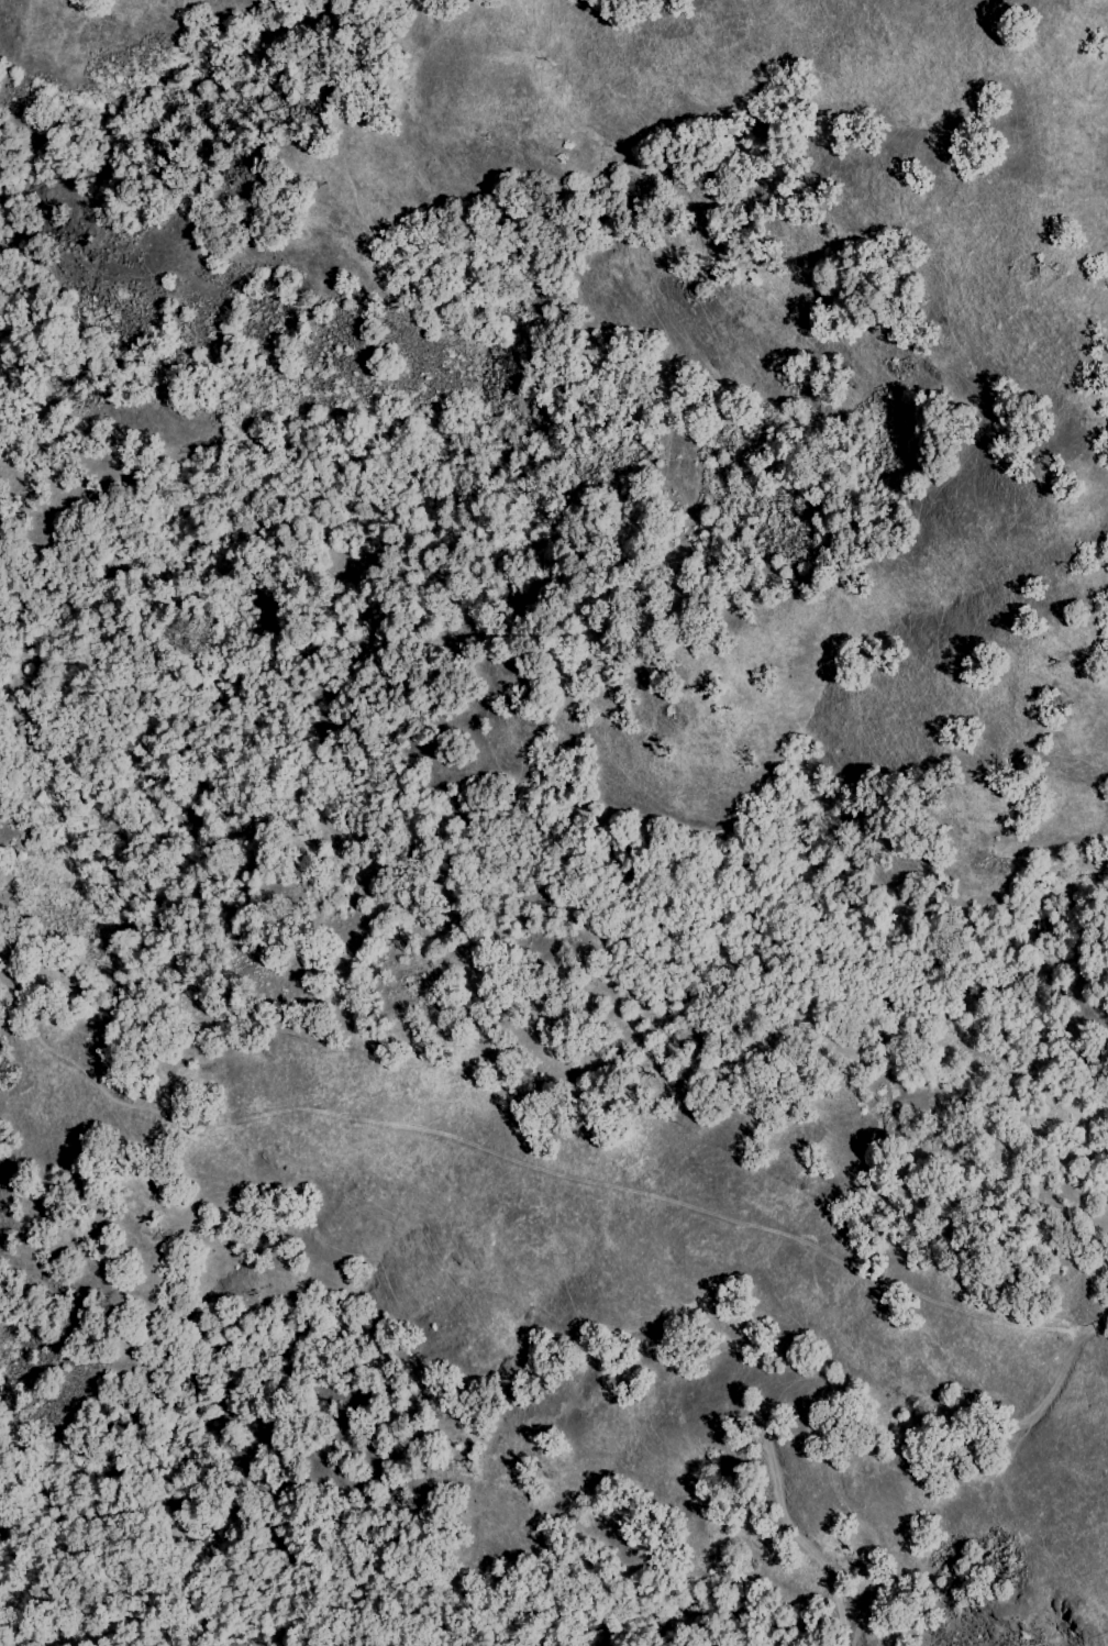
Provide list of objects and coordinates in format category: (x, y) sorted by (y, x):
road: (1061, 1377)
road: (772, 1421)

